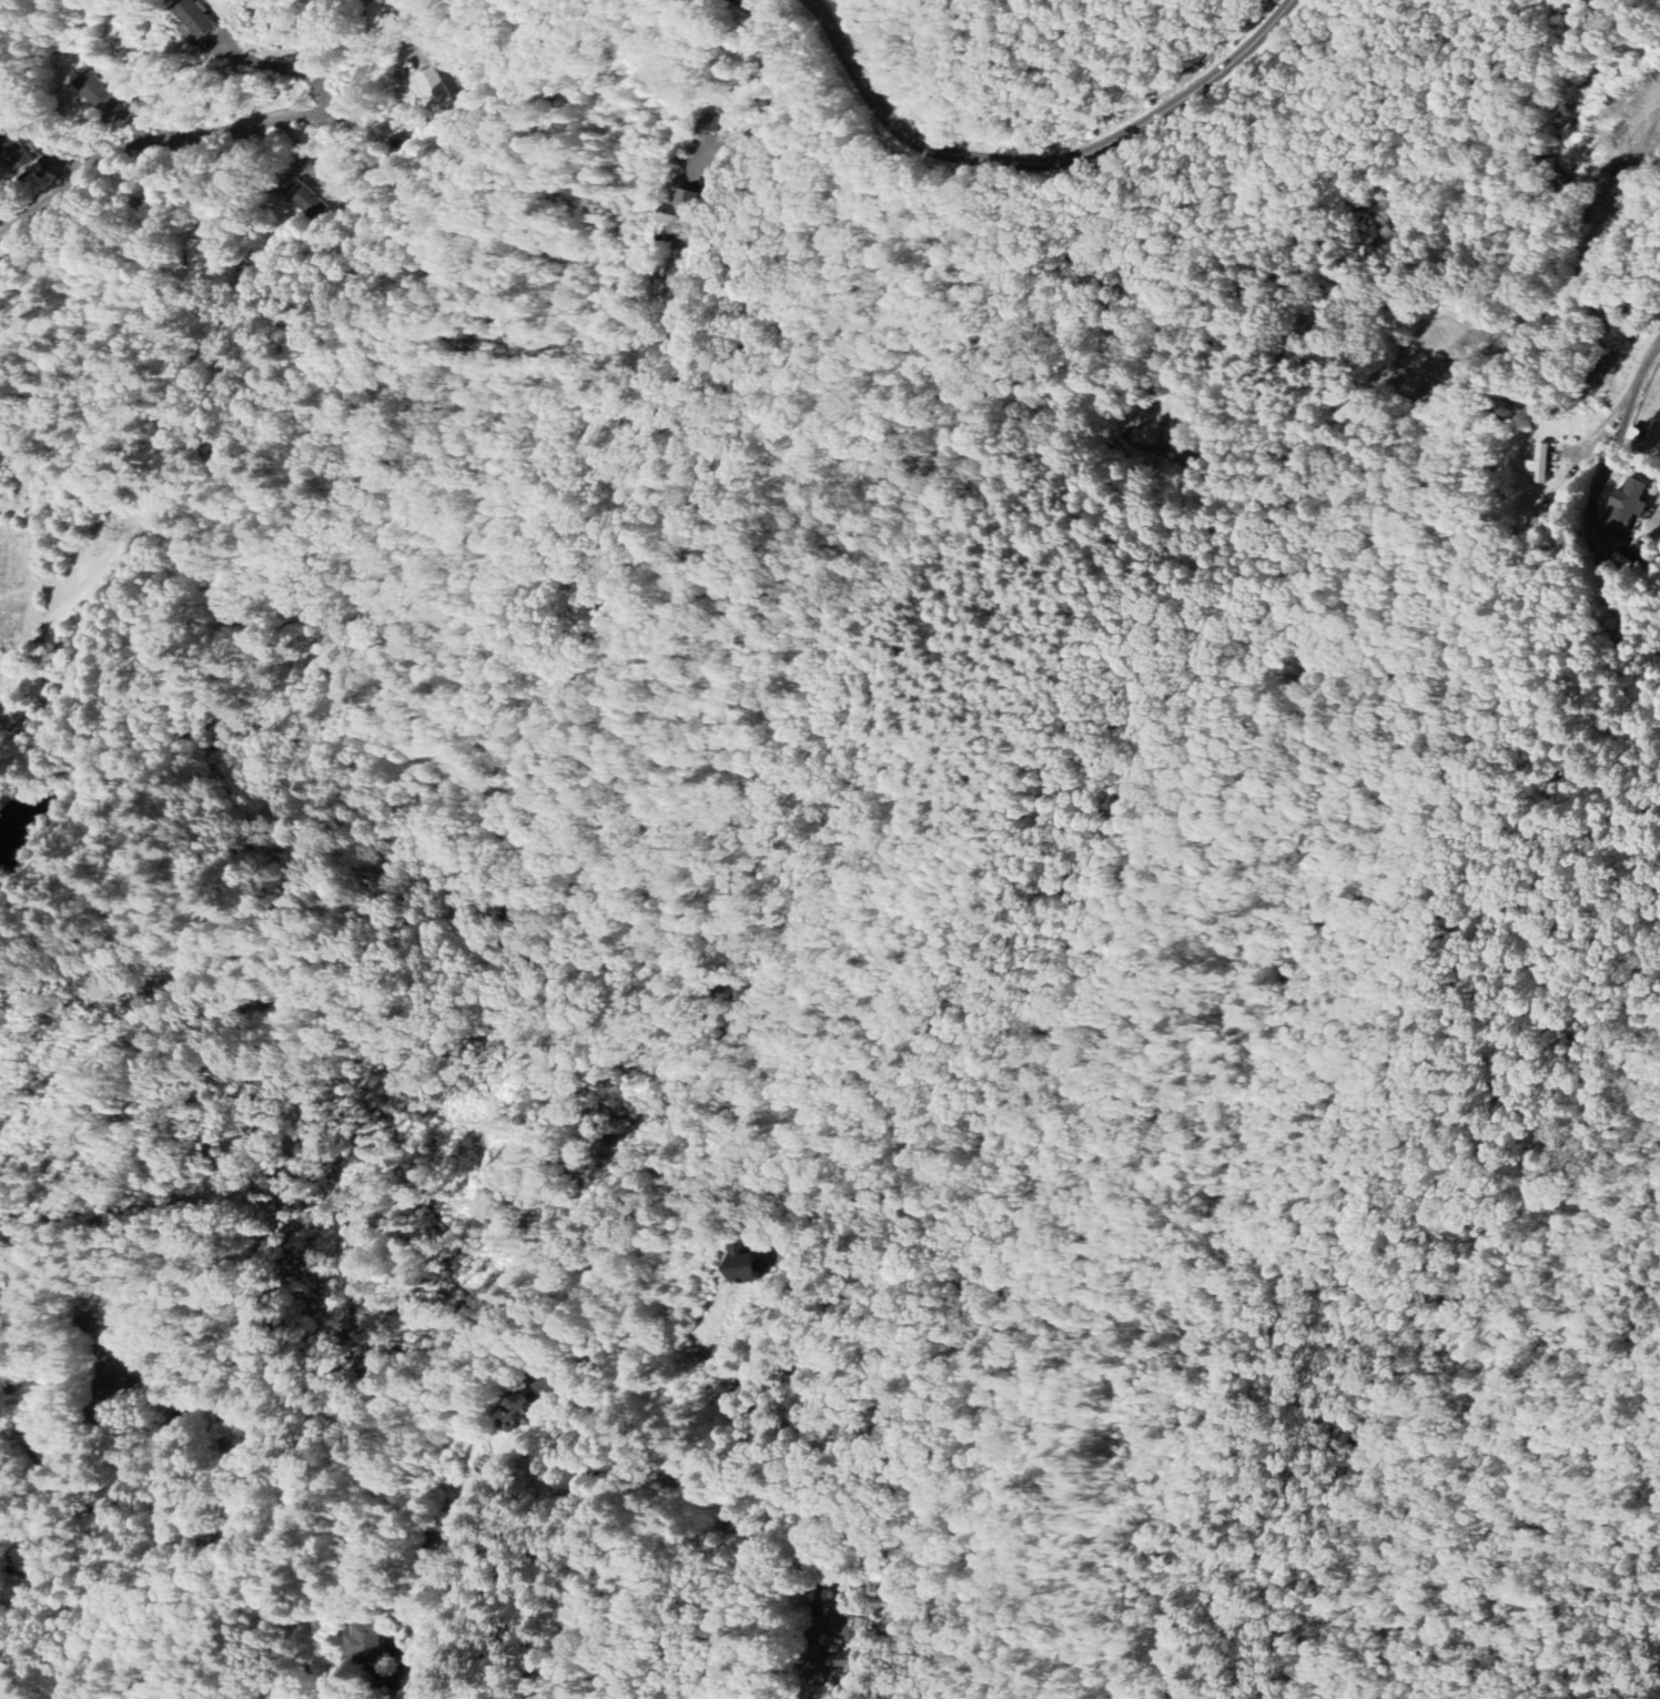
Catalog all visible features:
building: (194, 20)
road: (864, 30)
road: (360, 68)
road: (775, 88)
building: (92, 89)
building: (436, 92)
building: (710, 121)
road: (148, 140)
road: (1039, 164)
building: (307, 199)
building: (685, 212)
building: (201, 255)
road: (1620, 433)
building: (1538, 465)
building: (1627, 503)
building: (746, 1263)
road: (579, 1476)
road: (114, 1498)
building: (368, 1645)
road: (289, 1651)

